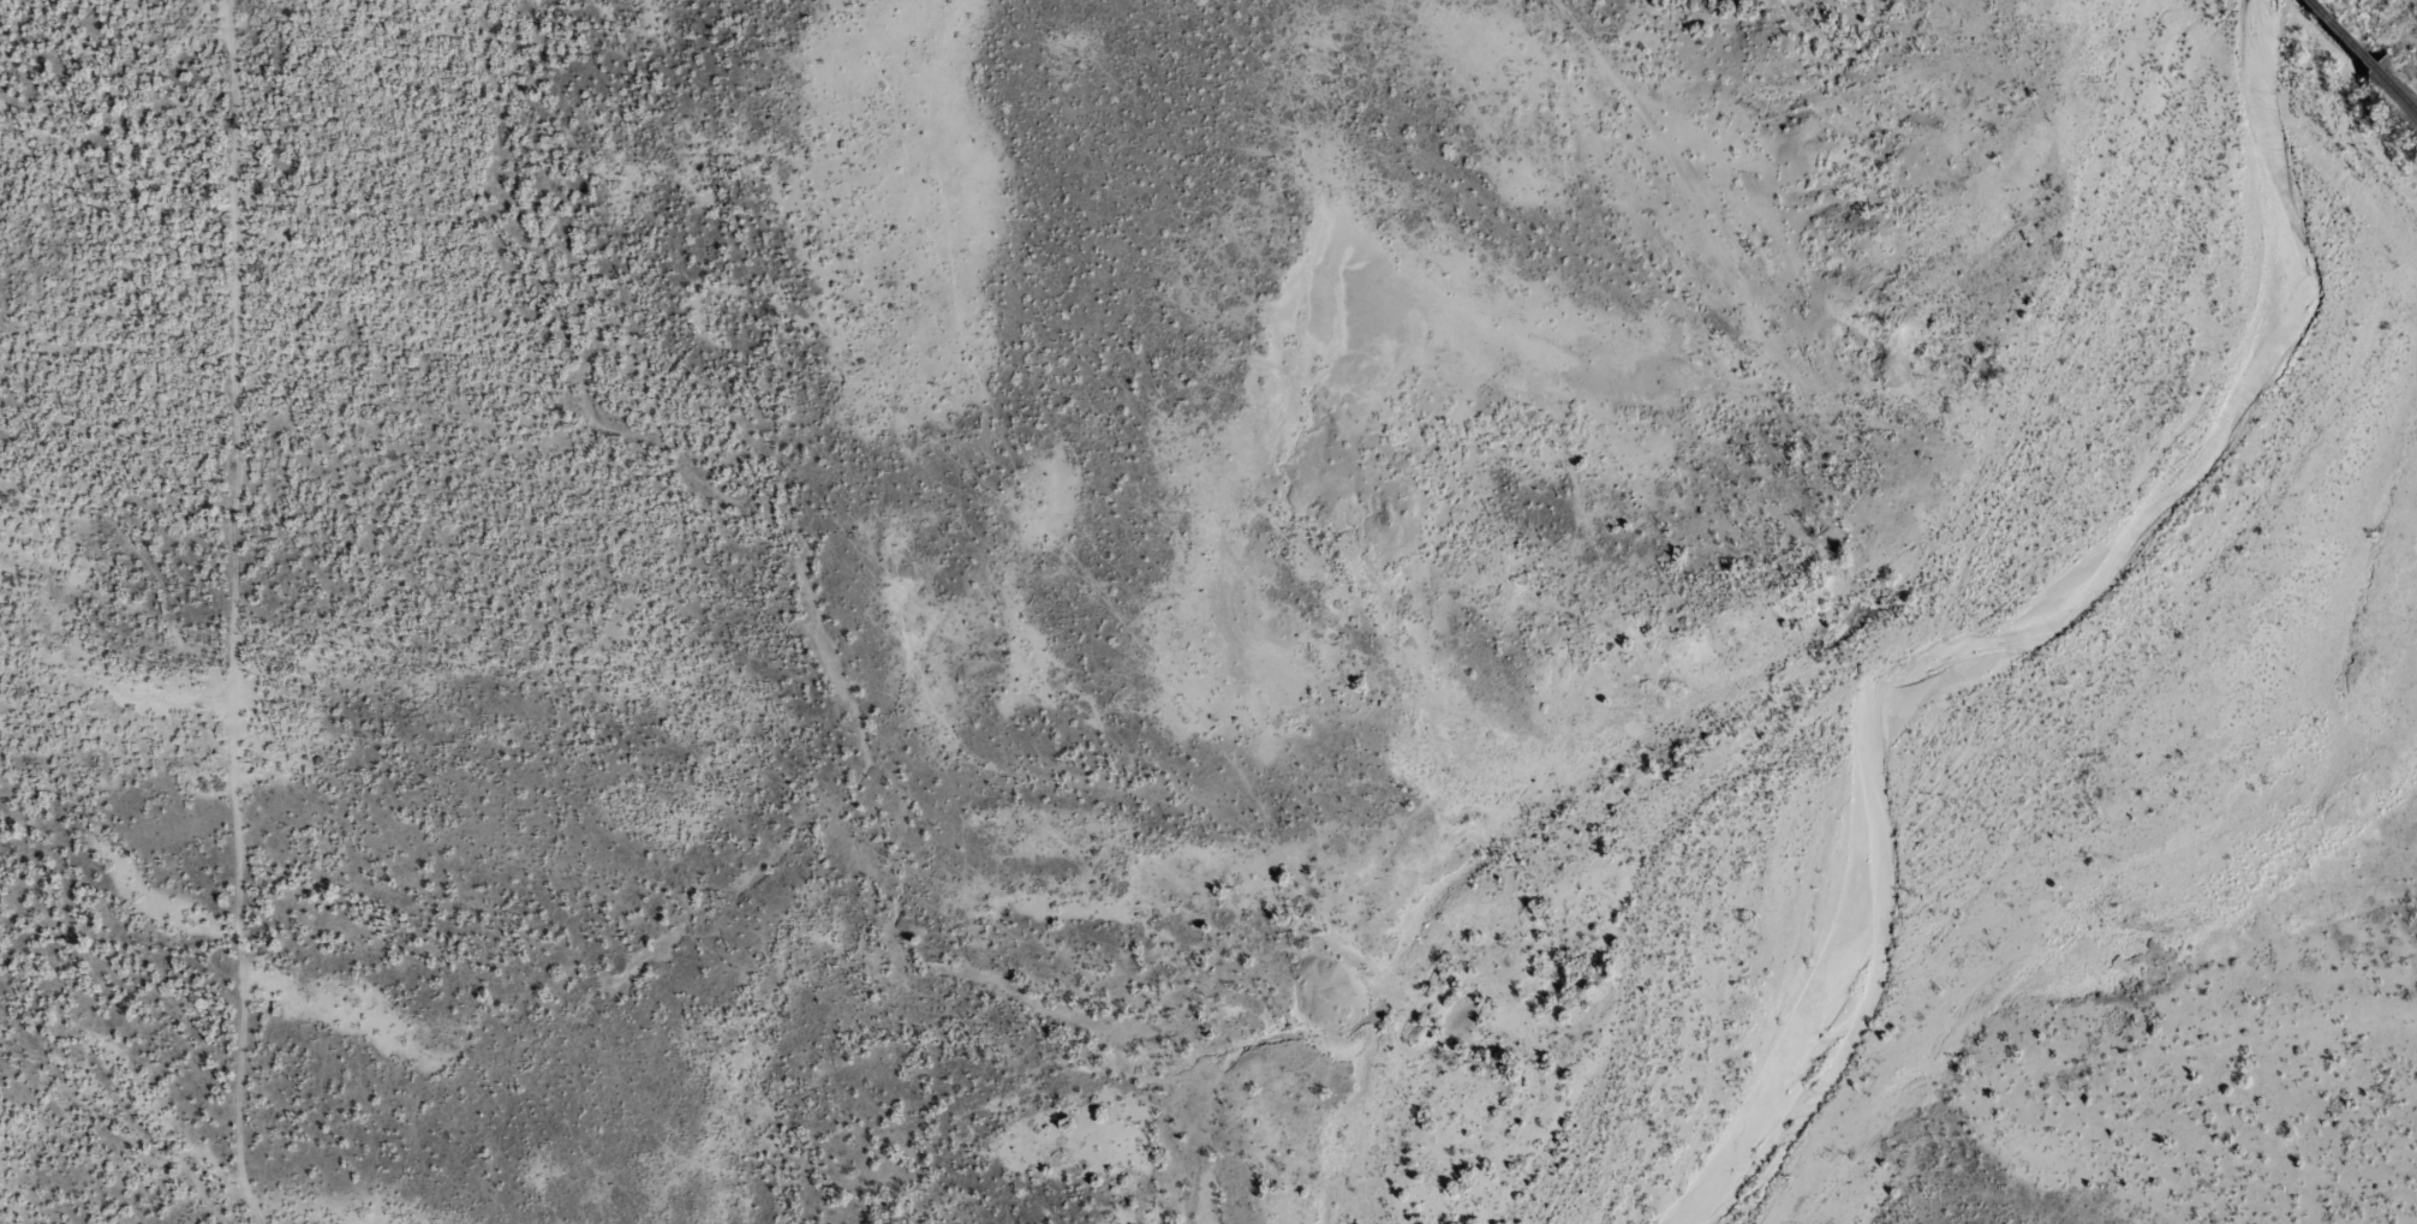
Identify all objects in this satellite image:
railway: (2337, 34)
railway: (2393, 91)

